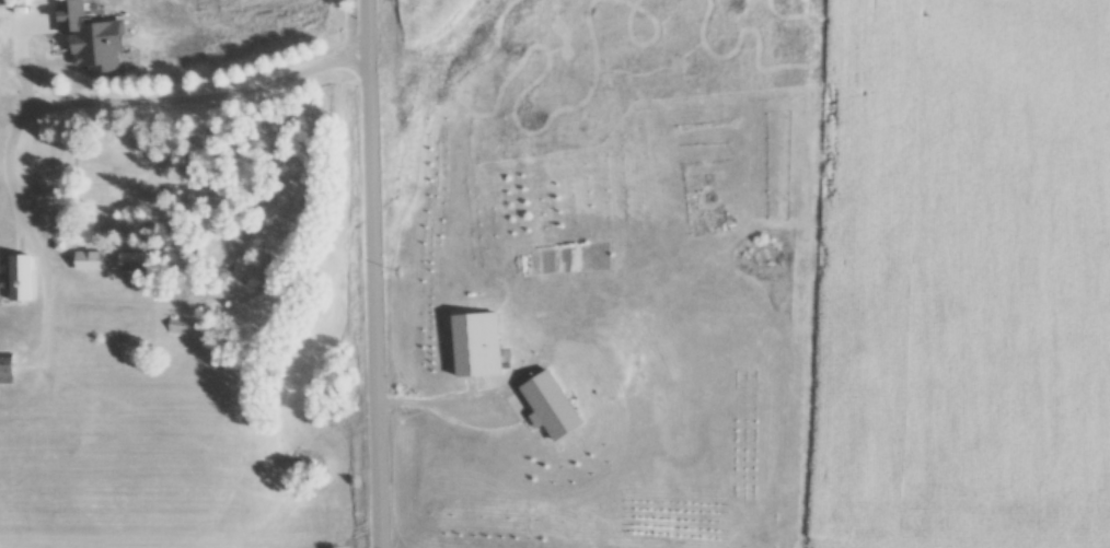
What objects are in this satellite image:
crop: (428, 19)
building: (22, 51)
road: (130, 90)
building: (128, 185)
building: (92, 260)
road: (373, 273)
crop: (963, 277)
building: (22, 278)
building: (182, 326)
building: (481, 349)
building: (8, 365)
road: (446, 400)
building: (554, 407)

